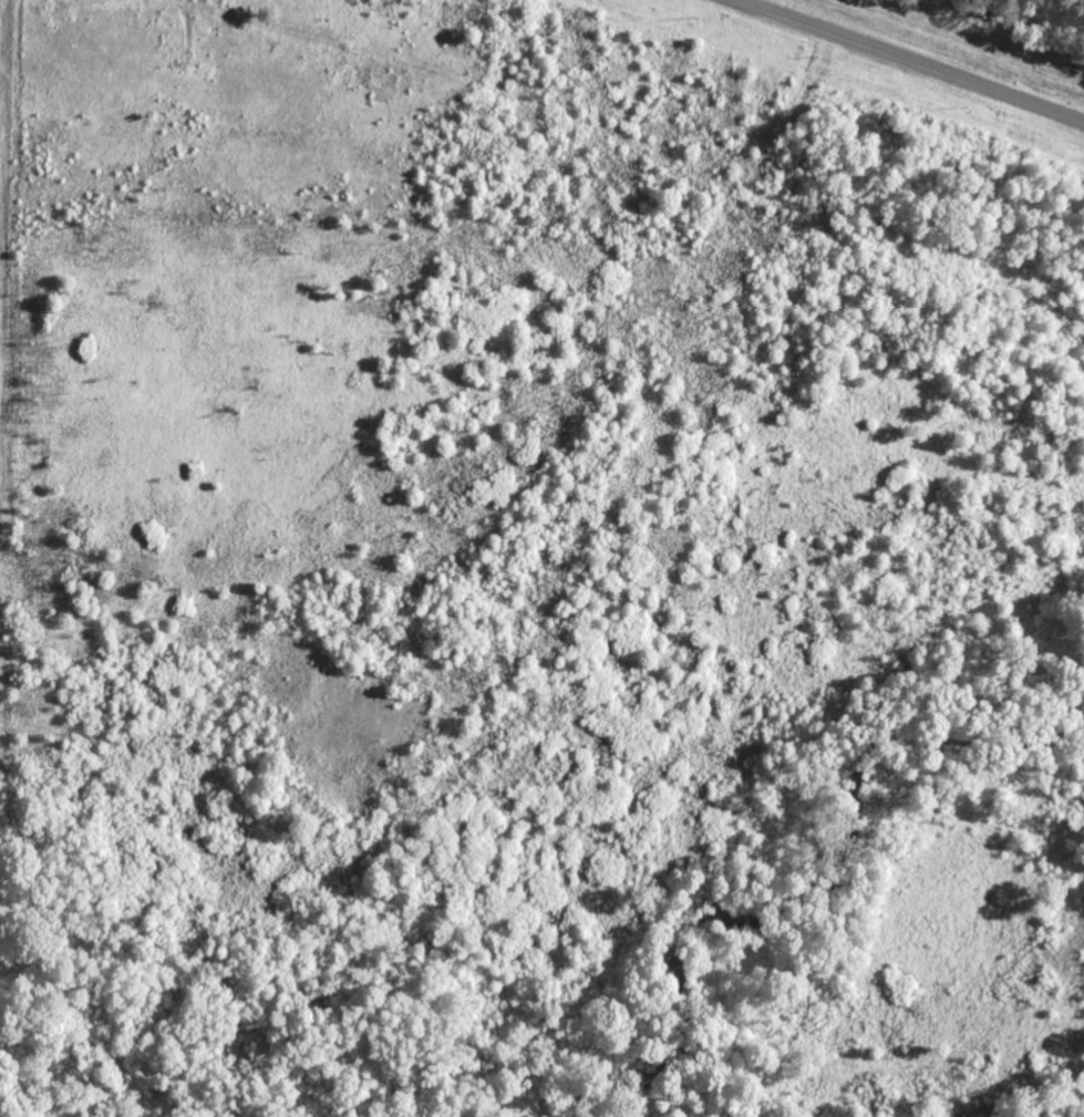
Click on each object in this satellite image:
road: (744, 1)
road: (909, 61)
road: (4, 230)

